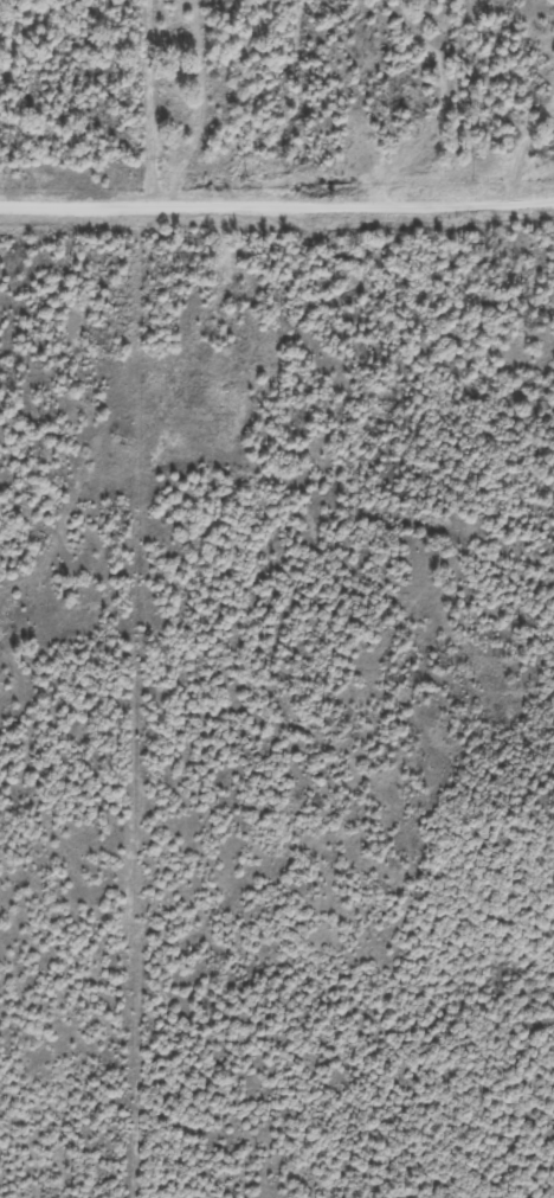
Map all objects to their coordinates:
road: (277, 203)

